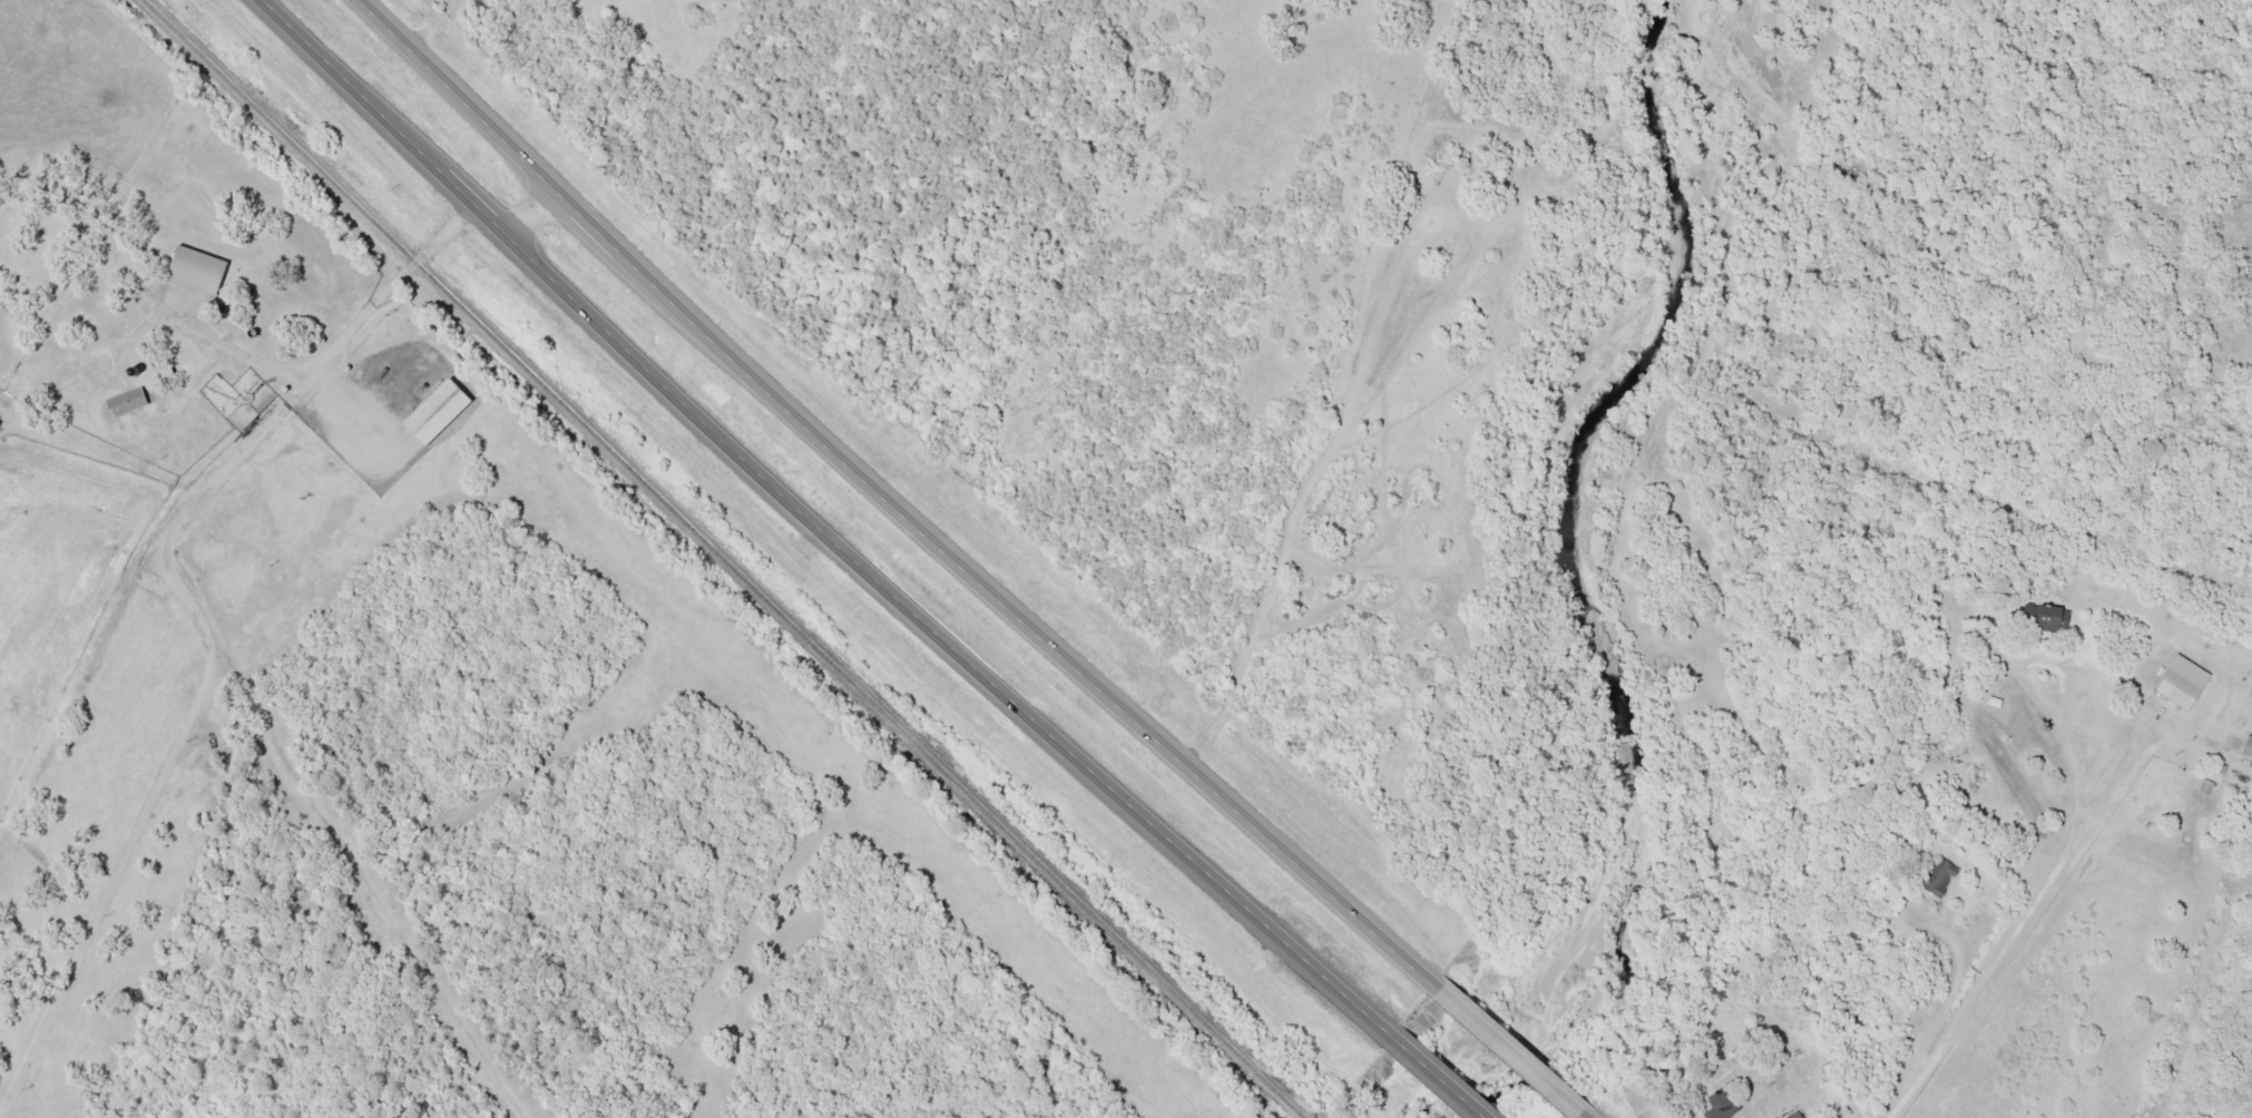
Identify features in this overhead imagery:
road: (423, 21)
road: (527, 209)
building: (194, 271)
building: (123, 402)
building: (433, 412)
road: (883, 503)
road: (814, 528)
railway: (717, 557)
road: (324, 618)
building: (2048, 618)
road: (2171, 679)
building: (2181, 683)
building: (2246, 747)
road: (2098, 782)
road: (1987, 870)
building: (1937, 877)
road: (2107, 894)
road: (1504, 1049)
road: (1433, 1076)
building: (1833, 1089)
building: (1719, 1105)
building: (1792, 1115)
road: (1578, 1116)
railway: (1298, 1117)

